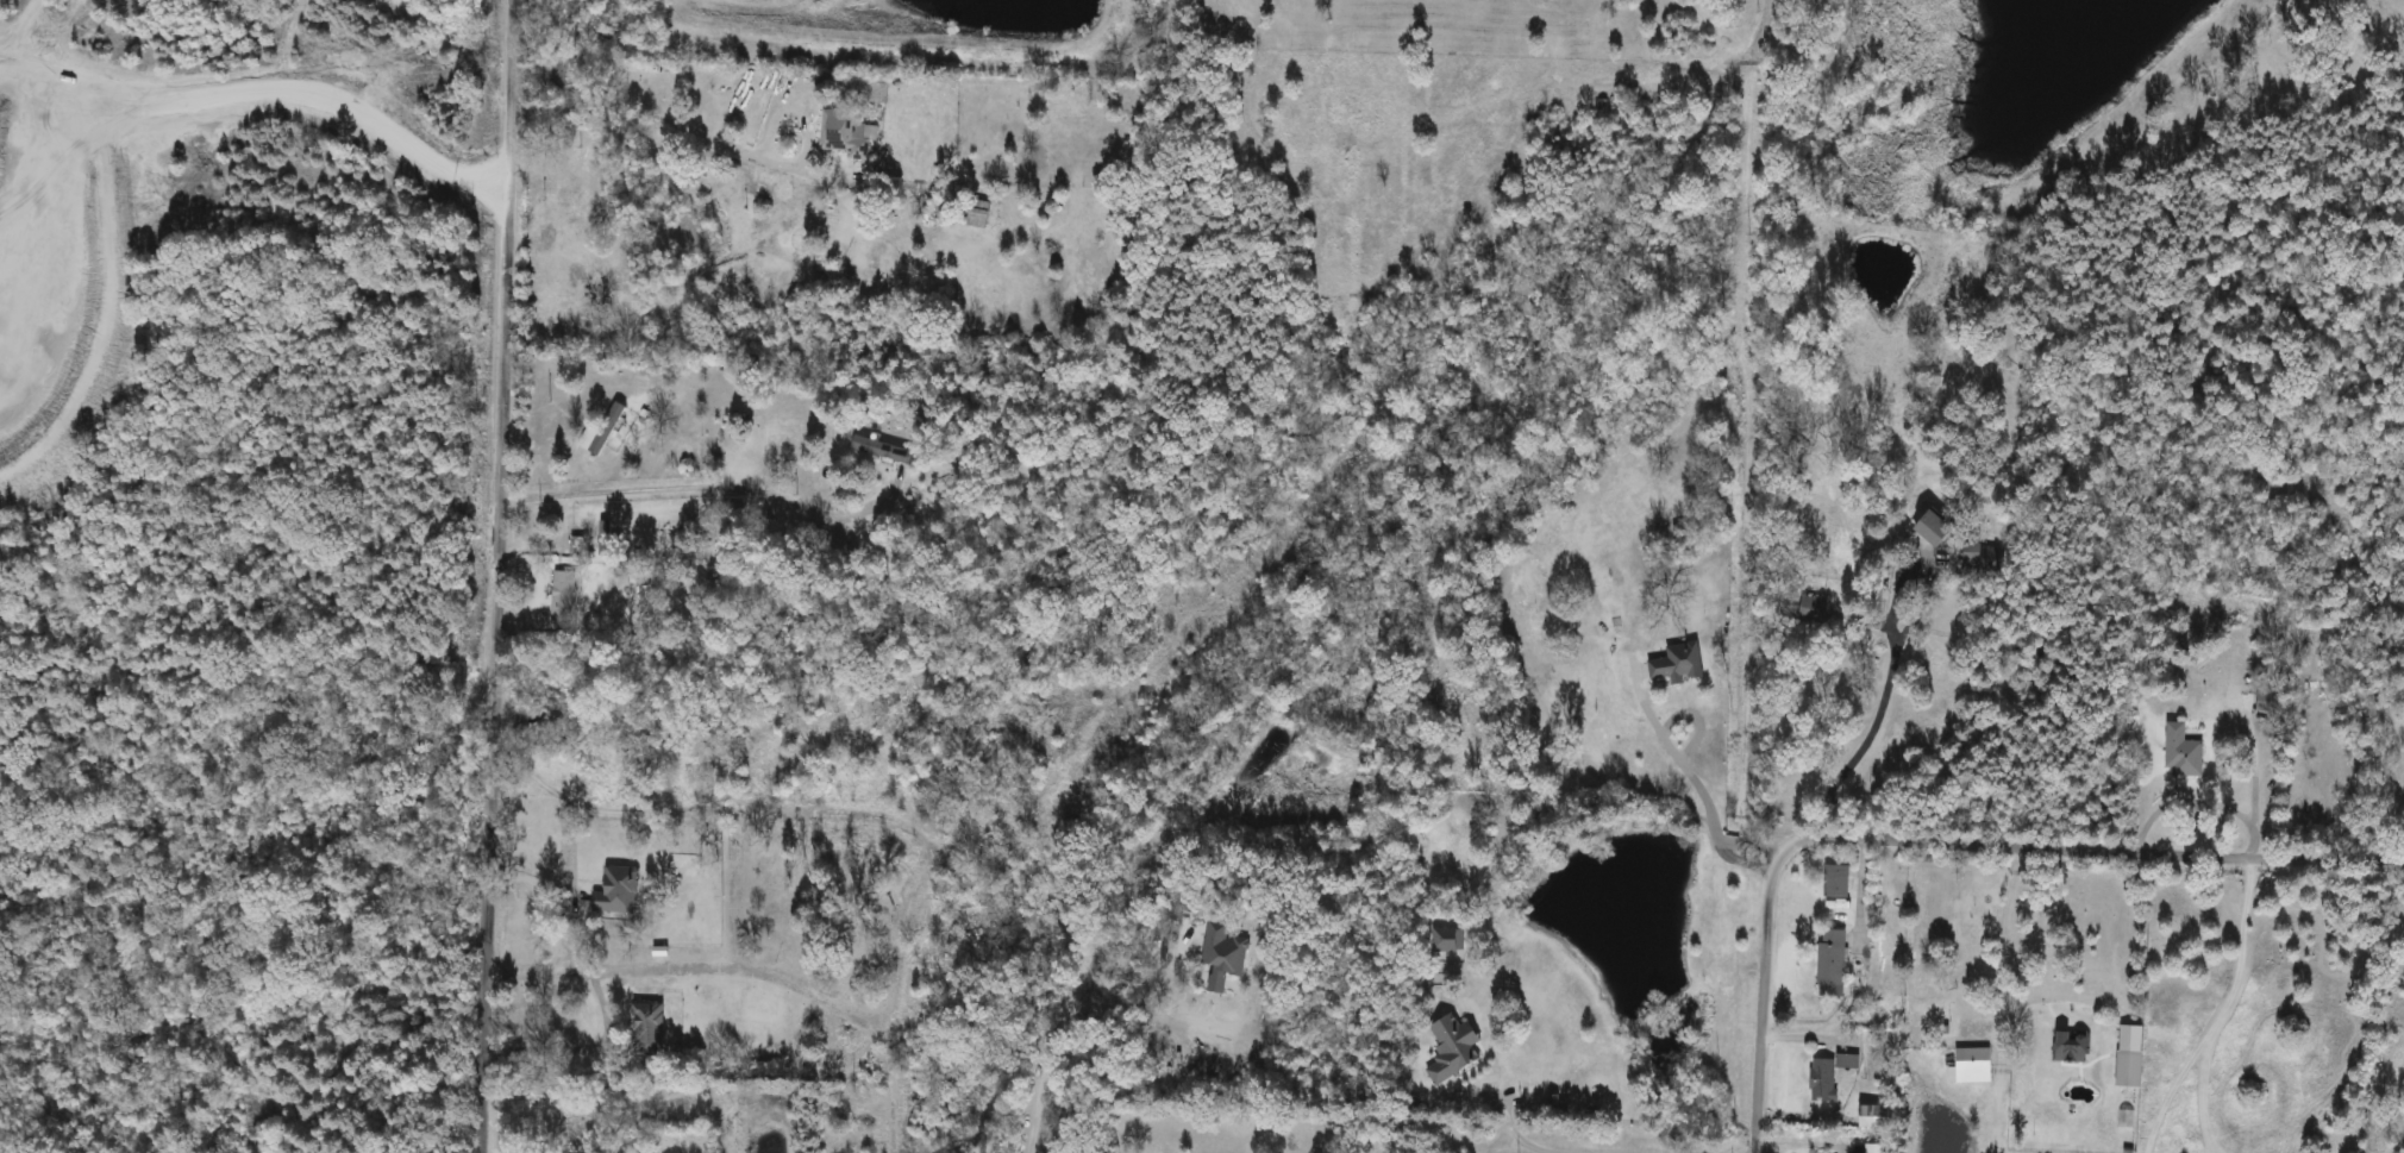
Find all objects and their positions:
building: (558, 73)
building: (709, 80)
building: (849, 132)
road: (710, 139)
building: (572, 281)
building: (603, 431)
road: (710, 481)
building: (1936, 528)
building: (1979, 558)
road: (506, 576)
building: (564, 595)
building: (1679, 662)
building: (2268, 698)
road: (1872, 719)
building: (2184, 751)
road: (1688, 766)
road: (2197, 795)
road: (568, 836)
road: (1940, 839)
building: (1836, 881)
building: (619, 891)
road: (569, 927)
building: (1447, 940)
building: (1832, 963)
road: (691, 969)
road: (2026, 984)
road: (885, 998)
building: (650, 1029)
building: (2074, 1046)
road: (581, 1048)
building: (1454, 1048)
road: (1046, 1053)
building: (1976, 1060)
building: (2131, 1069)
building: (1824, 1079)
building: (1555, 1107)
building: (1878, 1116)
building: (563, 1130)
road: (1564, 1145)
building: (1871, 1148)

